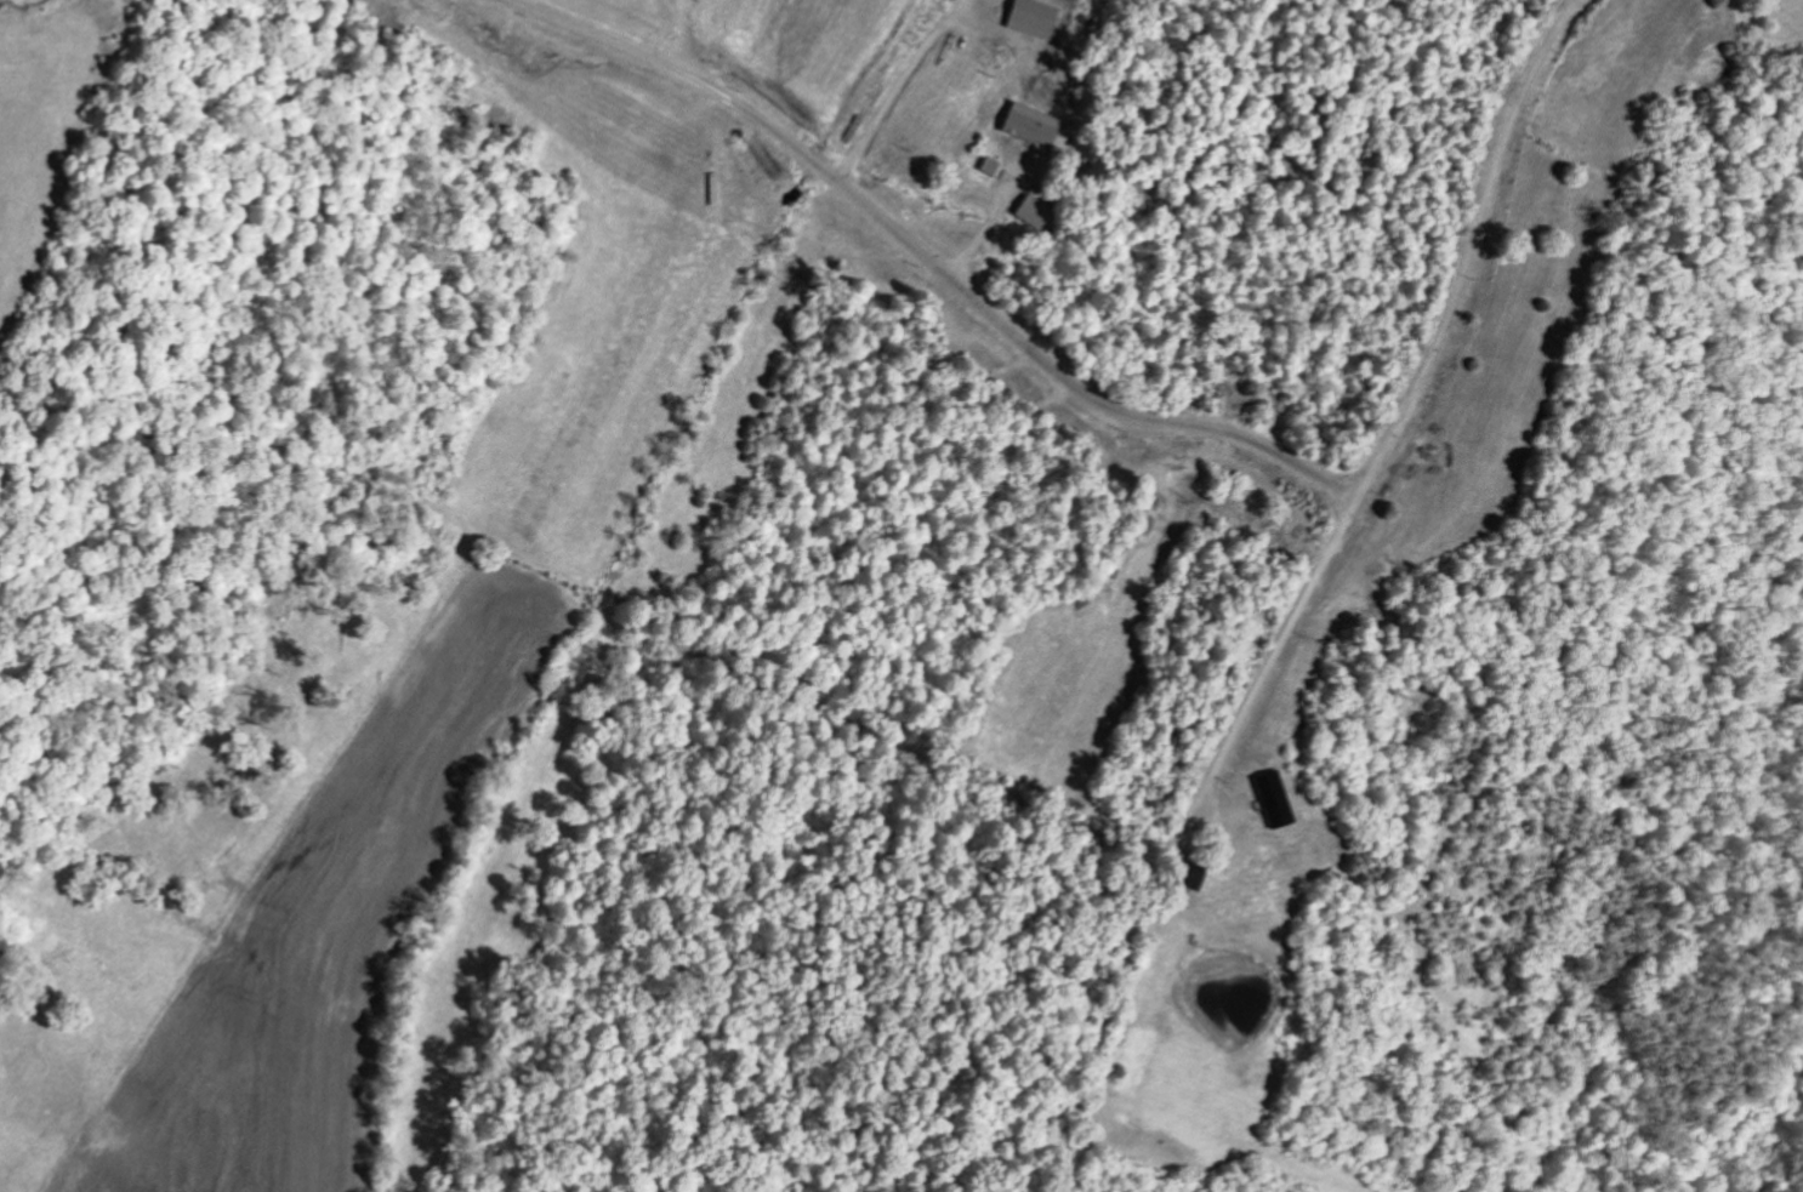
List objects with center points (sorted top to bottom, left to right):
building: (1040, 18)
building: (1031, 124)
building: (1035, 211)
road: (928, 257)
road: (1393, 426)
building: (1279, 800)

